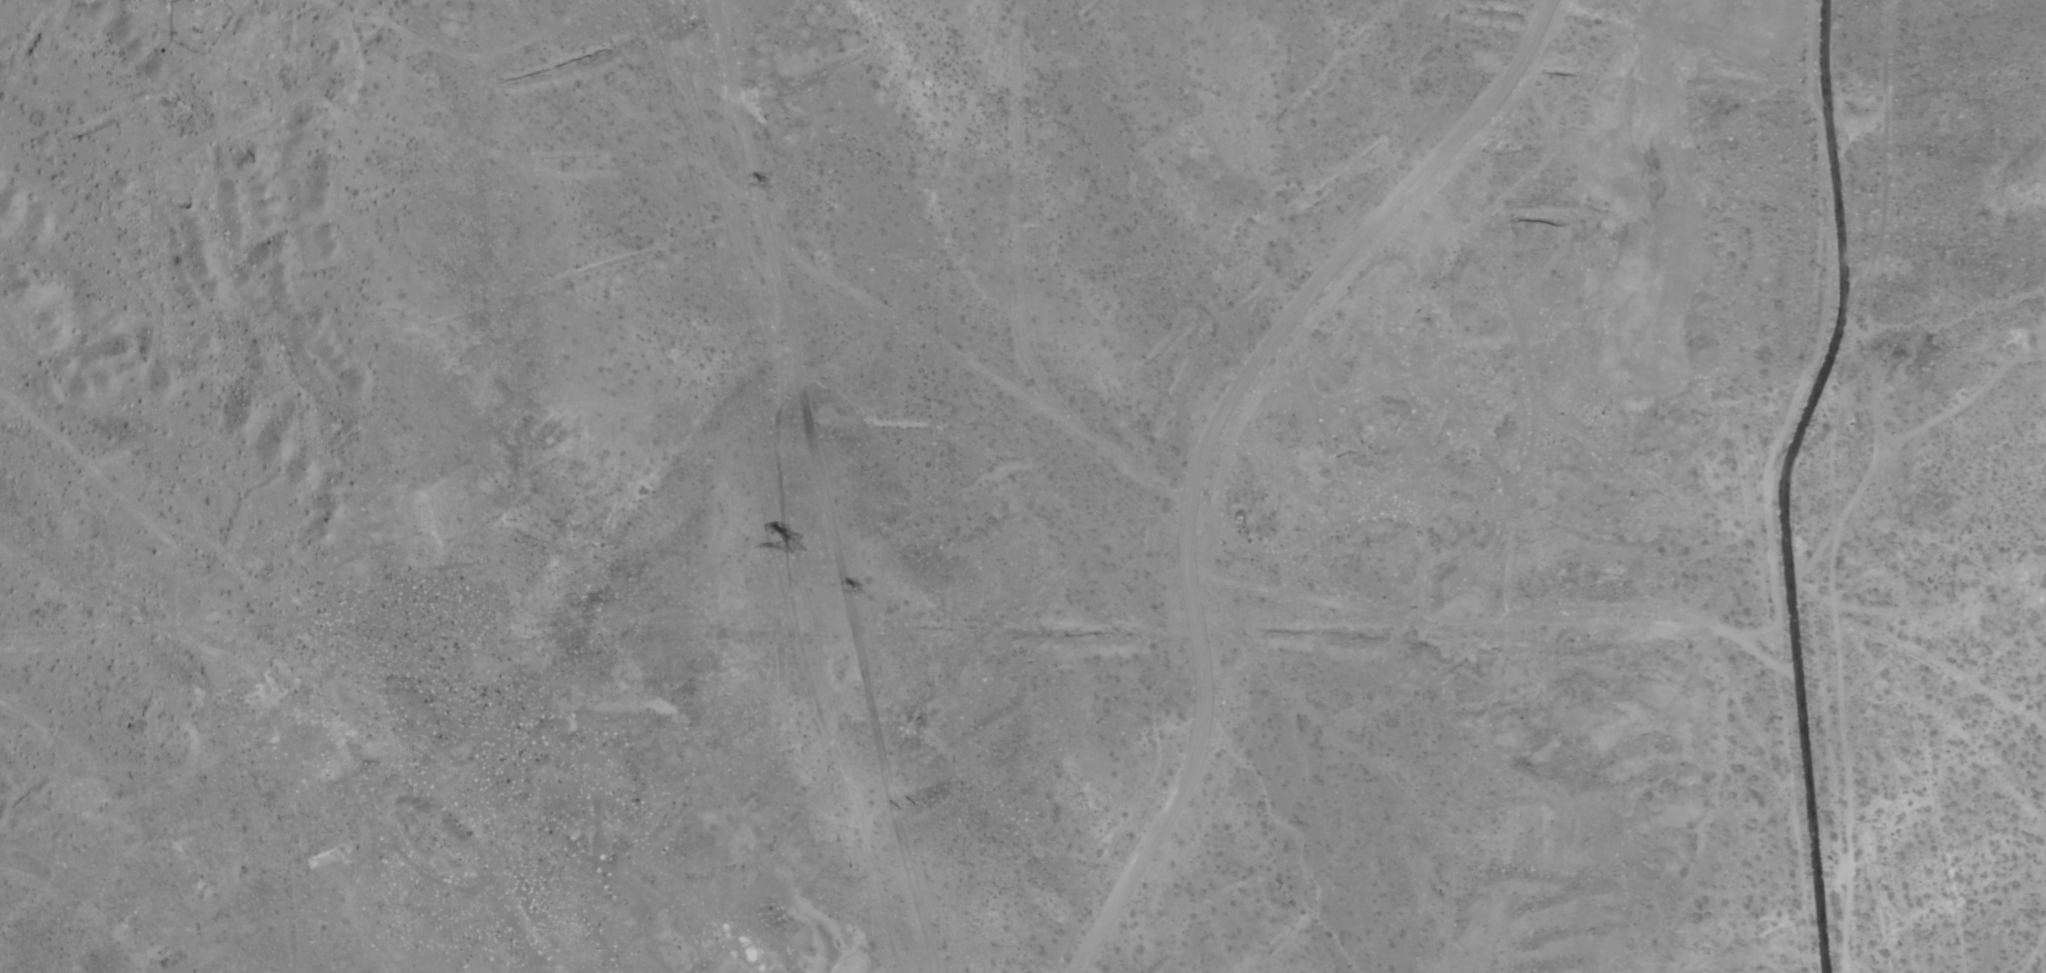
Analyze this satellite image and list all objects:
power tower: (775, 191)
road: (1206, 443)
road: (1781, 482)
road: (819, 487)
crop: (1859, 517)
power tower: (802, 550)
power tower: (875, 600)
power tower: (919, 813)

